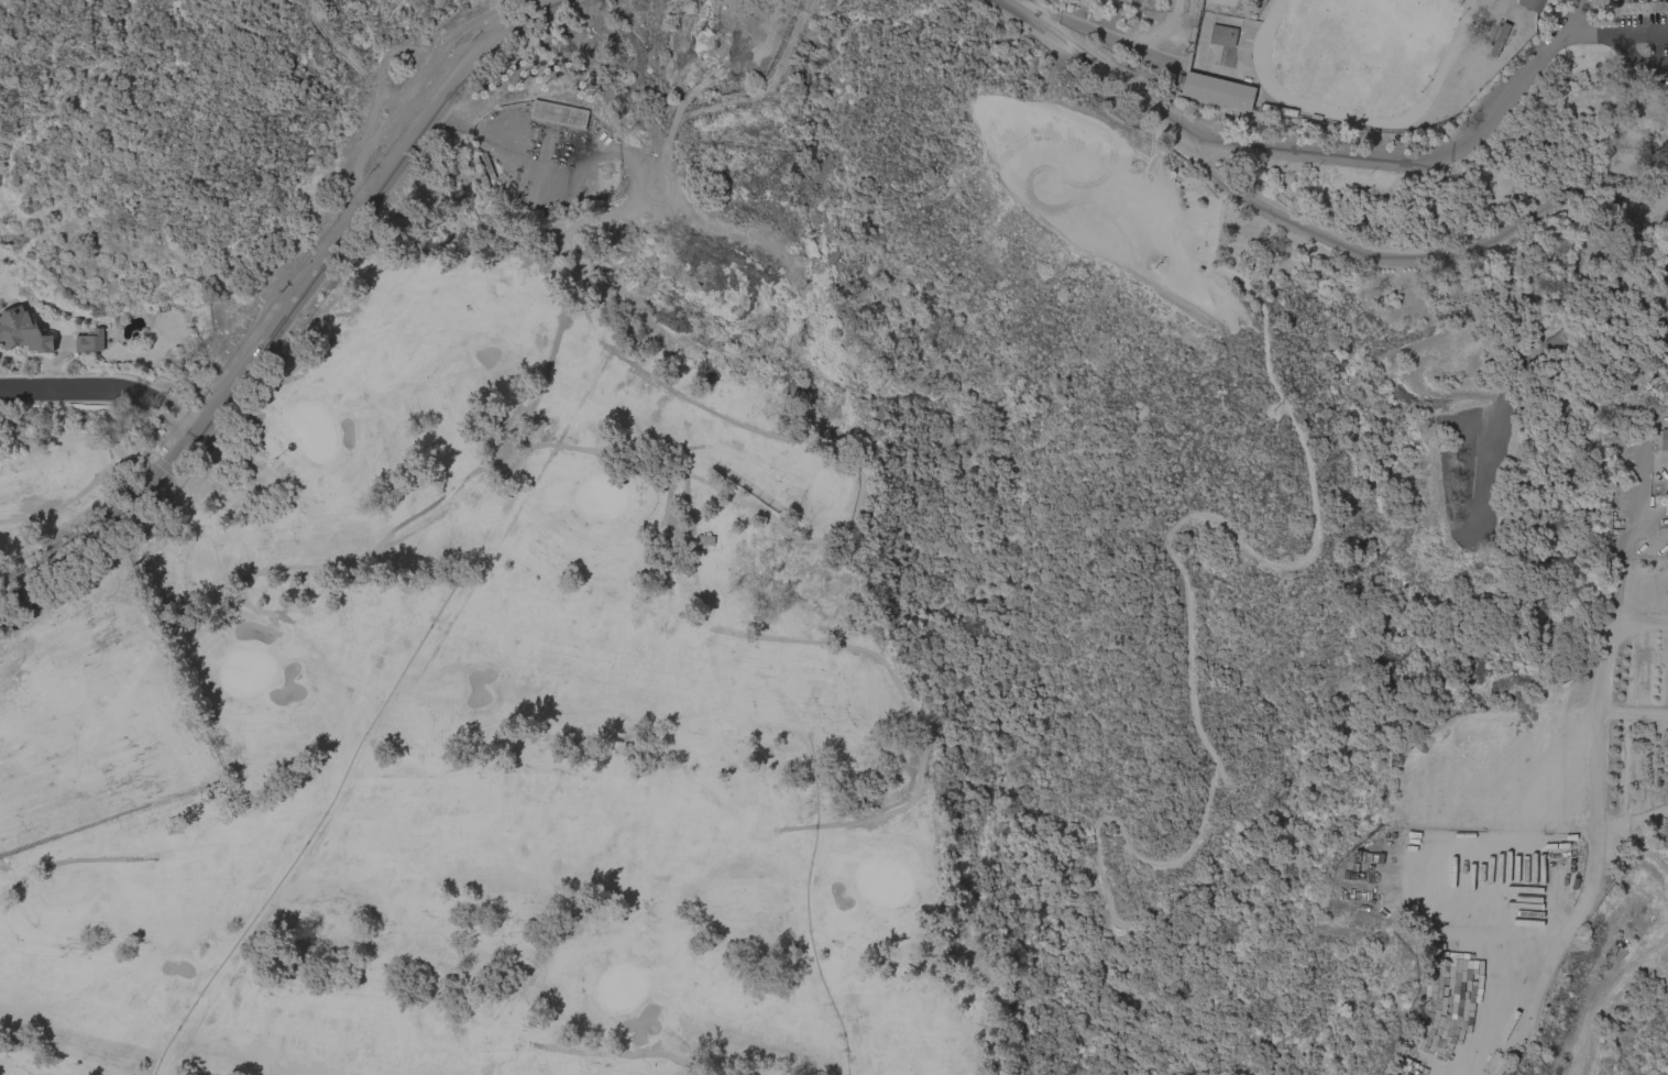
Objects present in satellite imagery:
building: (1532, 4)
road: (1109, 31)
road: (1587, 33)
road: (1639, 34)
building: (1222, 35)
building: (1497, 40)
road: (1635, 61)
road: (1091, 69)
road: (355, 73)
building: (1216, 91)
building: (1277, 110)
building: (558, 114)
road: (1154, 135)
road: (1417, 160)
building: (487, 166)
parking lot: (1115, 220)
road: (1414, 252)
road: (1662, 299)
road: (282, 315)
building: (22, 331)
building: (89, 341)
road: (79, 392)
road: (178, 419)
building: (1661, 439)
road: (110, 467)
road: (712, 485)
park: (1286, 528)
building: (704, 540)
road: (1265, 556)
road: (323, 563)
road: (918, 722)
park: (483, 723)
road: (44, 865)

